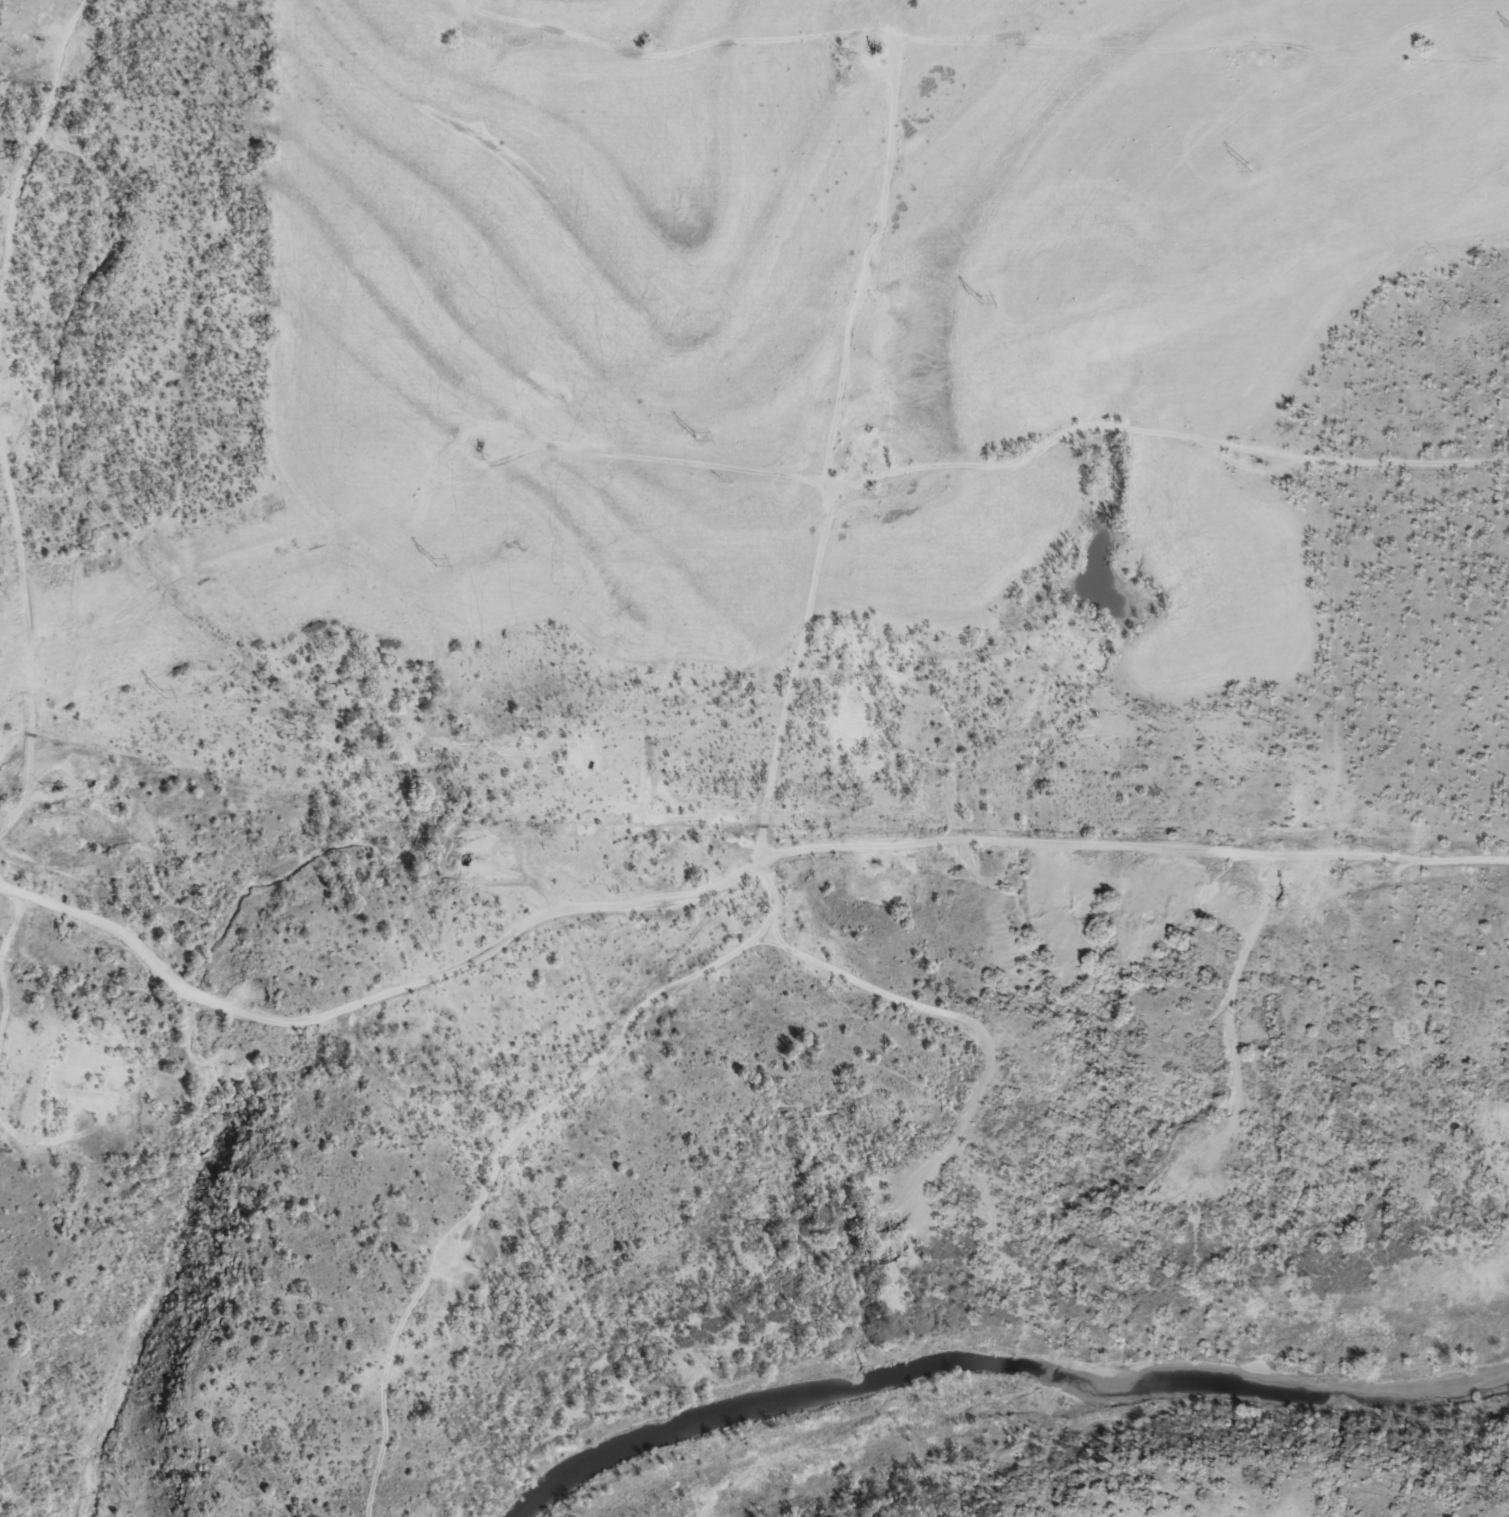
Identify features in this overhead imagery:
road: (1047, 152)
power tower: (1254, 169)
power tower: (979, 300)
power tower: (694, 435)
power tower: (433, 563)
power tower: (161, 694)
road: (367, 1004)
river: (1000, 1370)

